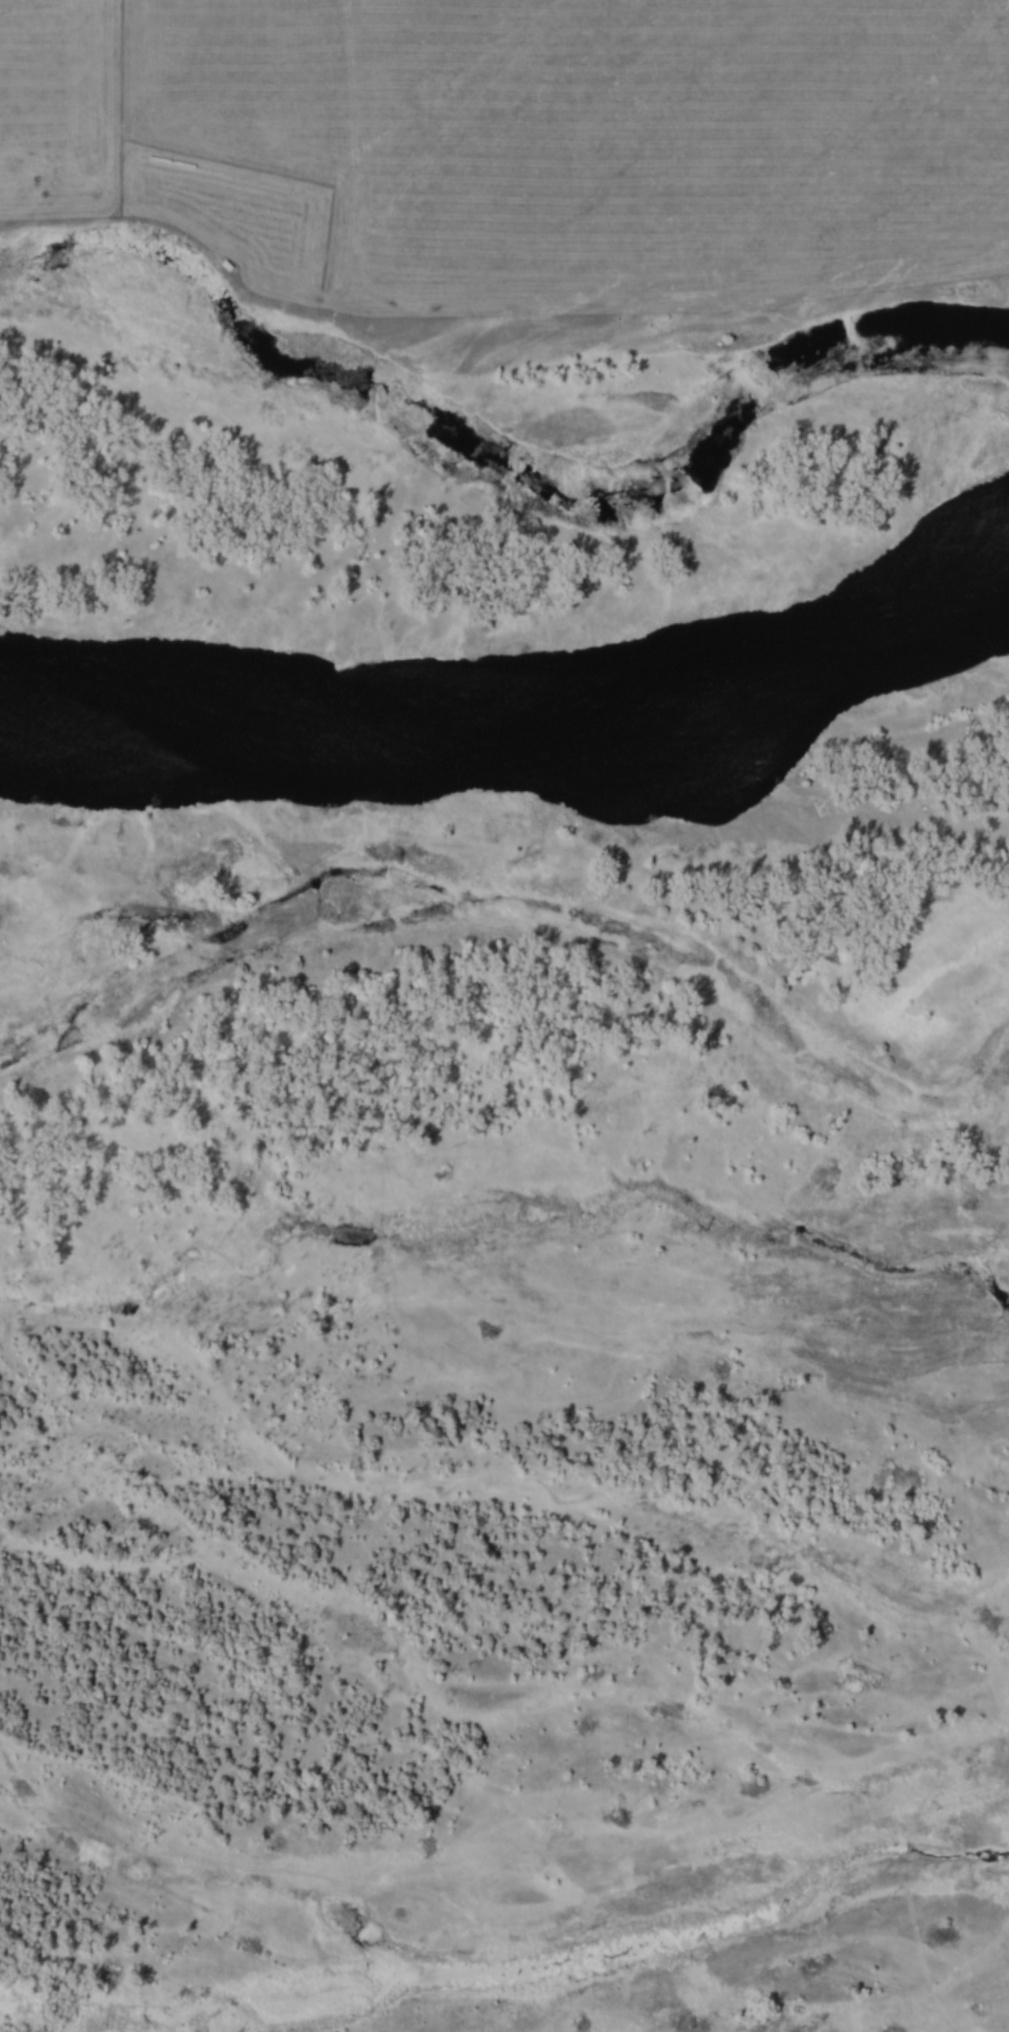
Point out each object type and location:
river: (516, 712)

